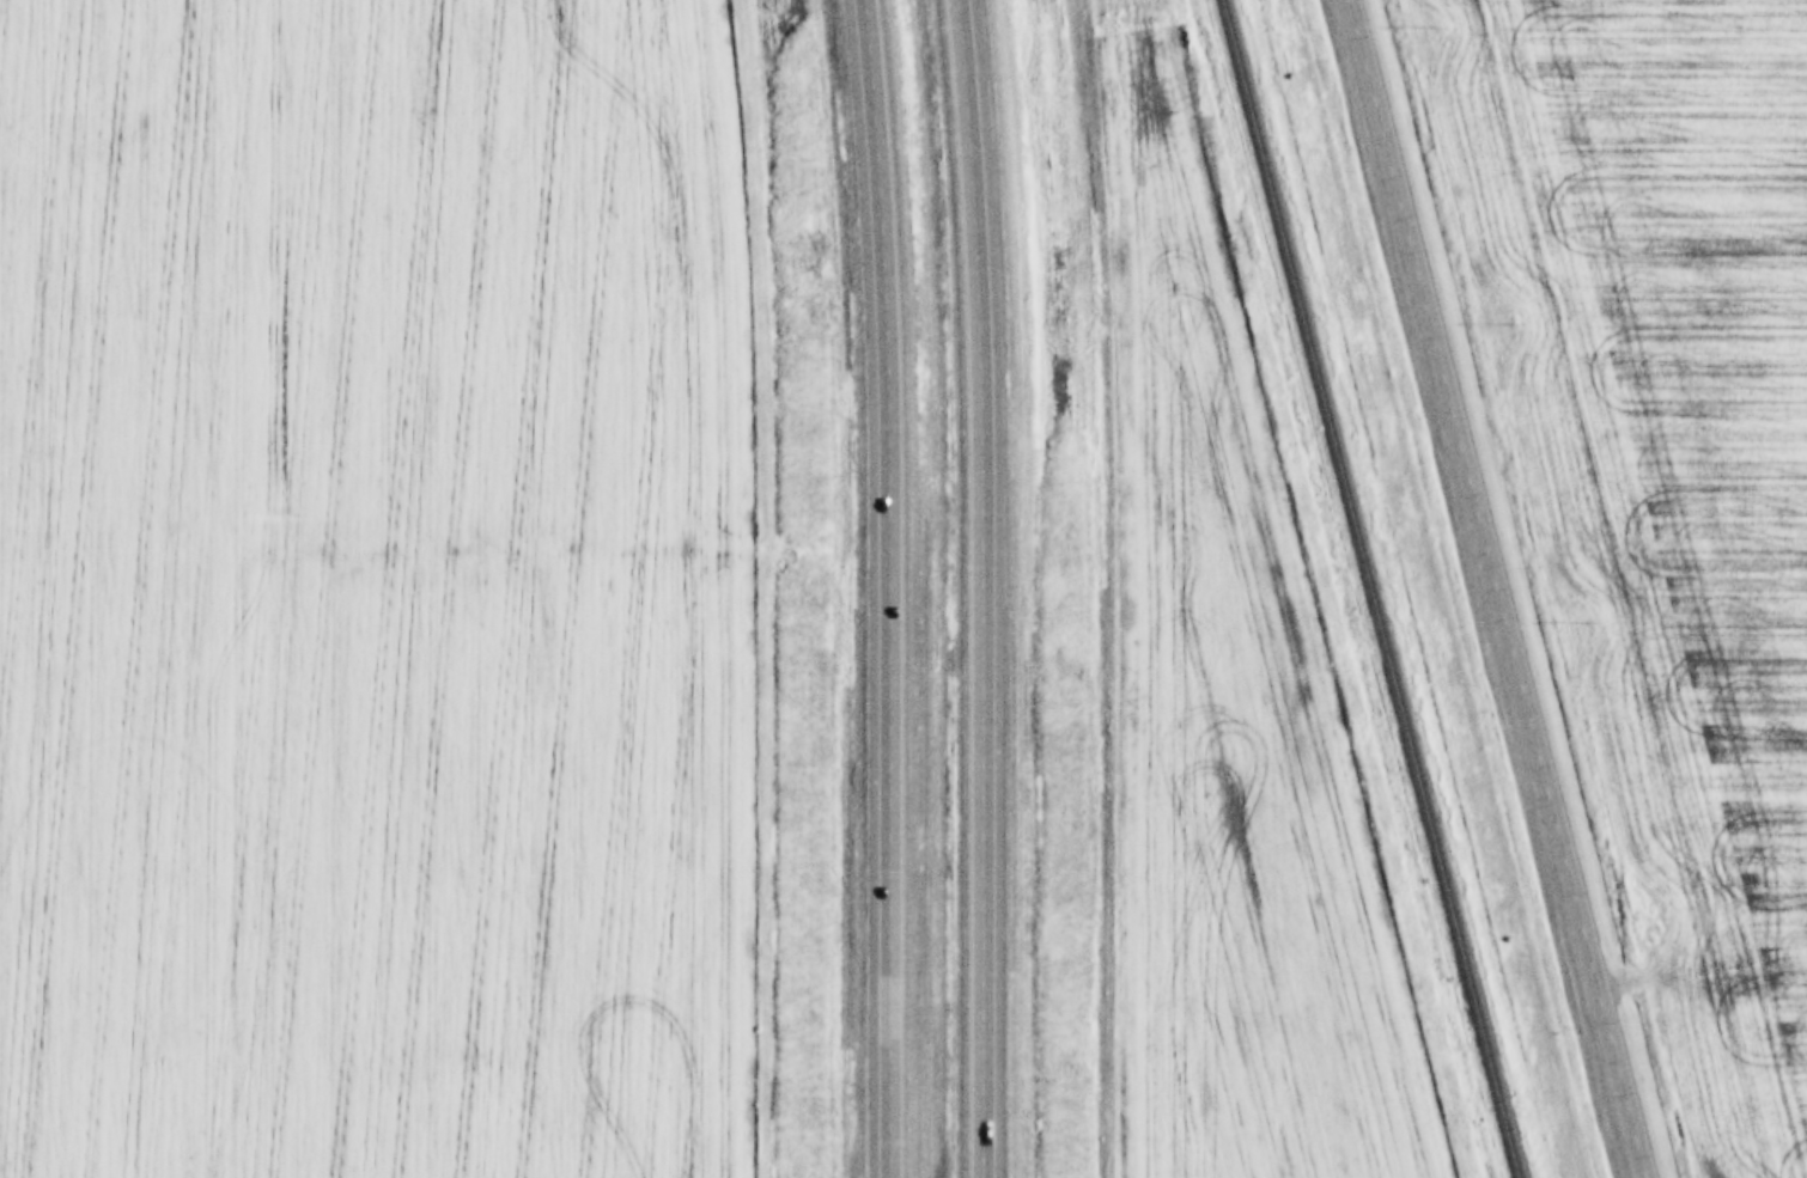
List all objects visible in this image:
road: (1507, 587)
road: (888, 588)
road: (987, 588)
railway: (1367, 588)

